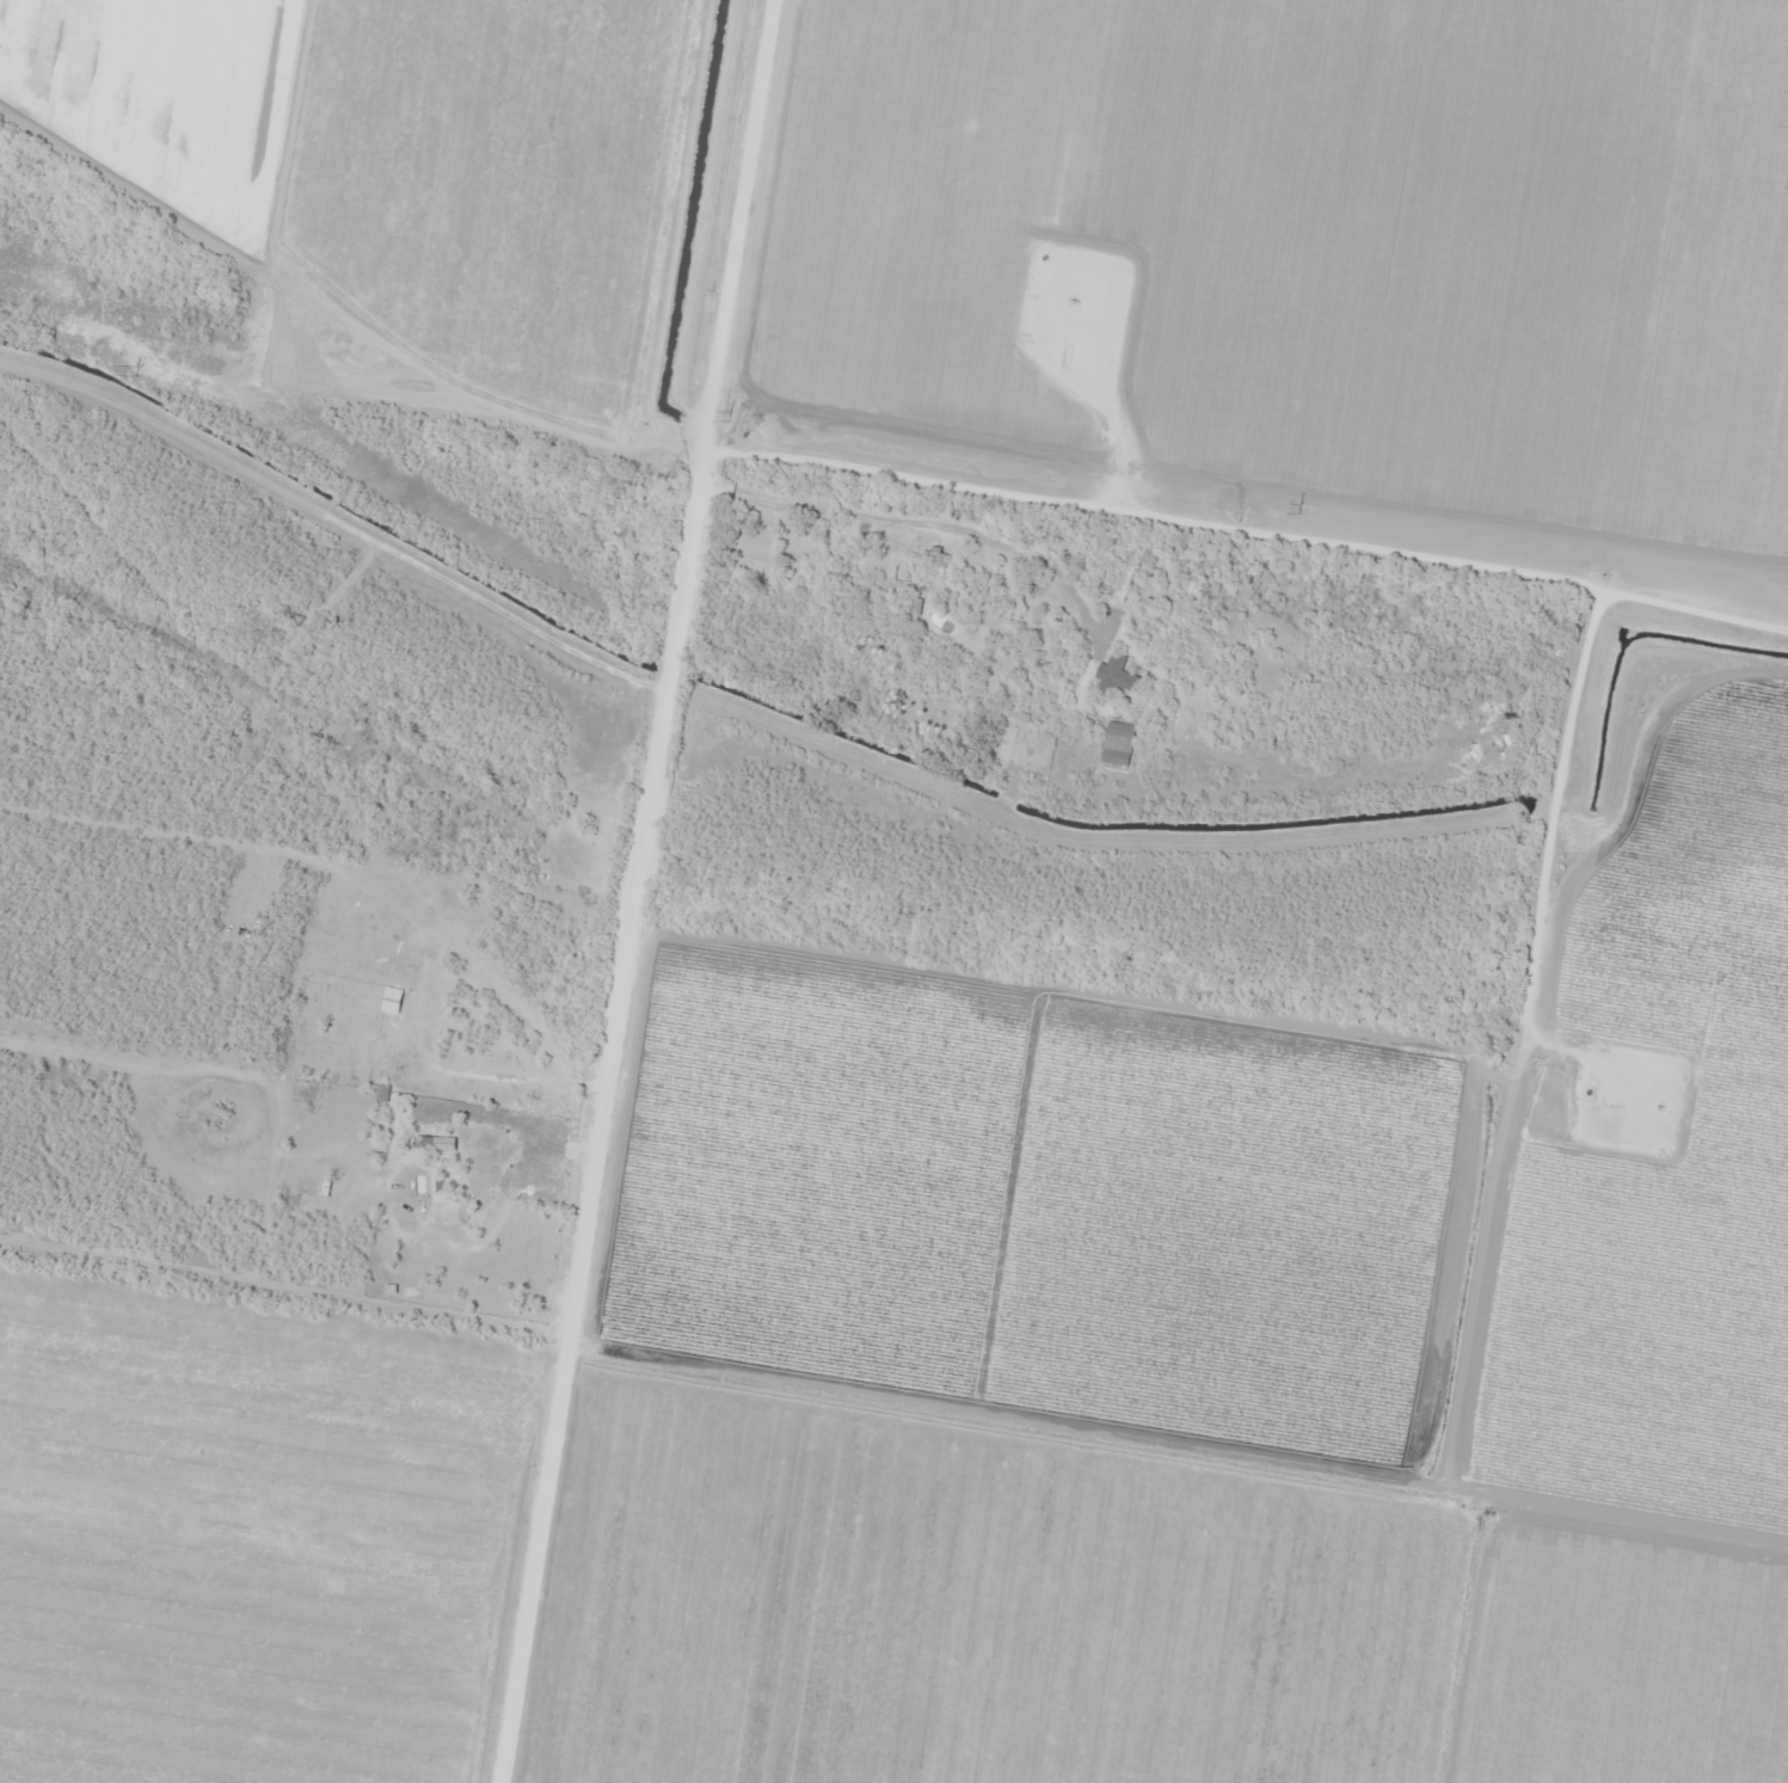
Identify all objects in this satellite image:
power tower: (135, 373)
power tower: (727, 417)
power tower: (1298, 509)
building: (932, 571)
building: (284, 613)
road: (644, 890)
building: (380, 1093)
building: (448, 1181)

